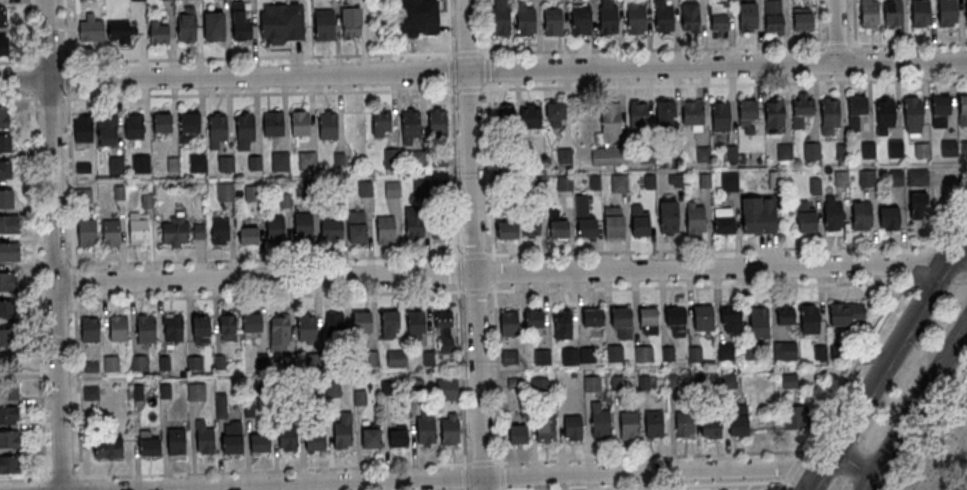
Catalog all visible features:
building: (966, 8)
building: (406, 13)
building: (893, 13)
building: (921, 13)
building: (947, 13)
building: (869, 14)
building: (773, 15)
building: (690, 16)
building: (748, 16)
building: (2, 17)
building: (609, 17)
building: (663, 17)
building: (718, 17)
building: (636, 18)
building: (802, 18)
building: (581, 19)
building: (501, 20)
building: (527, 21)
building: (281, 22)
building: (352, 22)
building: (554, 22)
building: (239, 24)
building: (185, 25)
building: (323, 25)
building: (90, 26)
building: (213, 26)
road: (27, 31)
building: (122, 31)
building: (158, 31)
road: (817, 32)
road: (834, 32)
road: (854, 32)
road: (65, 33)
building: (3, 46)
road: (483, 53)
road: (483, 72)
road: (29, 79)
road: (67, 80)
road: (513, 88)
road: (17, 98)
road: (48, 98)
building: (801, 110)
building: (962, 110)
building: (856, 111)
building: (912, 111)
building: (940, 111)
building: (746, 112)
building: (555, 113)
building: (664, 113)
building: (775, 113)
building: (830, 113)
building: (638, 114)
building: (692, 114)
building: (530, 115)
building: (885, 115)
building: (721, 116)
building: (3, 117)
building: (504, 117)
building: (162, 122)
building: (299, 122)
building: (381, 122)
building: (438, 122)
building: (272, 123)
building: (610, 123)
building: (409, 124)
building: (188, 125)
building: (327, 125)
building: (133, 126)
building: (216, 128)
building: (106, 129)
building: (244, 130)
building: (82, 131)
building: (676, 138)
building: (5, 143)
building: (964, 147)
building: (895, 148)
building: (948, 148)
building: (868, 150)
building: (922, 150)
building: (811, 151)
building: (842, 151)
building: (731, 152)
building: (784, 152)
building: (646, 154)
building: (703, 154)
building: (416, 156)
building: (564, 156)
building: (339, 157)
building: (390, 157)
building: (609, 157)
building: (280, 160)
building: (307, 160)
building: (197, 162)
building: (140, 163)
building: (225, 163)
building: (115, 164)
building: (6, 170)
building: (866, 177)
building: (917, 177)
building: (840, 178)
road: (70, 180)
building: (729, 180)
building: (564, 183)
building: (619, 184)
building: (815, 185)
building: (364, 188)
building: (392, 189)
building: (225, 191)
building: (250, 192)
building: (83, 195)
building: (7, 198)
building: (918, 205)
building: (833, 212)
building: (861, 215)
building: (758, 216)
building: (669, 217)
building: (890, 217)
building: (806, 218)
building: (414, 220)
building: (695, 220)
road: (945, 220)
building: (640, 222)
building: (614, 224)
building: (9, 225)
building: (442, 225)
building: (303, 226)
building: (724, 226)
building: (357, 227)
building: (532, 227)
building: (385, 228)
building: (587, 228)
building: (275, 229)
building: (197, 230)
building: (331, 230)
building: (560, 230)
building: (175, 231)
building: (220, 231)
building: (87, 232)
building: (137, 232)
building: (508, 232)
building: (111, 233)
building: (248, 235)
road: (55, 244)
road: (455, 245)
road: (473, 245)
road: (492, 245)
building: (10, 252)
road: (501, 255)
road: (916, 267)
road: (512, 274)
road: (960, 281)
building: (7, 282)
road: (74, 282)
road: (933, 282)
road: (37, 287)
road: (493, 290)
building: (7, 309)
building: (846, 313)
building: (786, 316)
building: (648, 317)
building: (676, 317)
building: (594, 318)
building: (621, 318)
building: (389, 319)
building: (444, 319)
building: (704, 319)
building: (732, 319)
building: (535, 320)
building: (810, 320)
building: (759, 322)
building: (252, 323)
building: (510, 323)
building: (335, 325)
building: (416, 325)
building: (227, 327)
building: (361, 327)
building: (563, 327)
building: (174, 328)
building: (200, 328)
building: (307, 328)
building: (89, 329)
building: (119, 329)
building: (146, 329)
building: (280, 330)
building: (8, 337)
building: (445, 344)
building: (723, 351)
building: (784, 351)
building: (615, 353)
building: (751, 353)
building: (820, 353)
building: (644, 354)
building: (668, 354)
building: (695, 354)
building: (570, 356)
building: (587, 356)
building: (510, 357)
building: (542, 357)
building: (398, 358)
building: (428, 358)
road: (887, 359)
building: (138, 362)
building: (194, 362)
building: (111, 363)
building: (8, 364)
road: (852, 367)
building: (728, 381)
building: (789, 381)
building: (529, 385)
road: (78, 389)
building: (332, 389)
building: (446, 389)
building: (9, 391)
building: (196, 391)
building: (91, 393)
building: (359, 396)
building: (220, 405)
road: (915, 406)
building: (9, 415)
building: (794, 417)
building: (737, 419)
building: (599, 422)
building: (684, 423)
building: (654, 424)
building: (628, 425)
building: (545, 427)
building: (572, 427)
building: (425, 428)
building: (711, 428)
building: (449, 429)
building: (517, 434)
building: (370, 436)
building: (231, 437)
building: (397, 437)
building: (10, 439)
building: (287, 439)
building: (205, 441)
building: (314, 441)
building: (177, 442)
building: (259, 442)
building: (149, 446)
building: (108, 449)
park: (943, 451)
road: (437, 463)
building: (9, 465)
road: (790, 465)
road: (23, 477)
road: (61, 477)
road: (521, 477)
road: (781, 483)
road: (44, 484)
road: (668, 485)
road: (81, 486)

